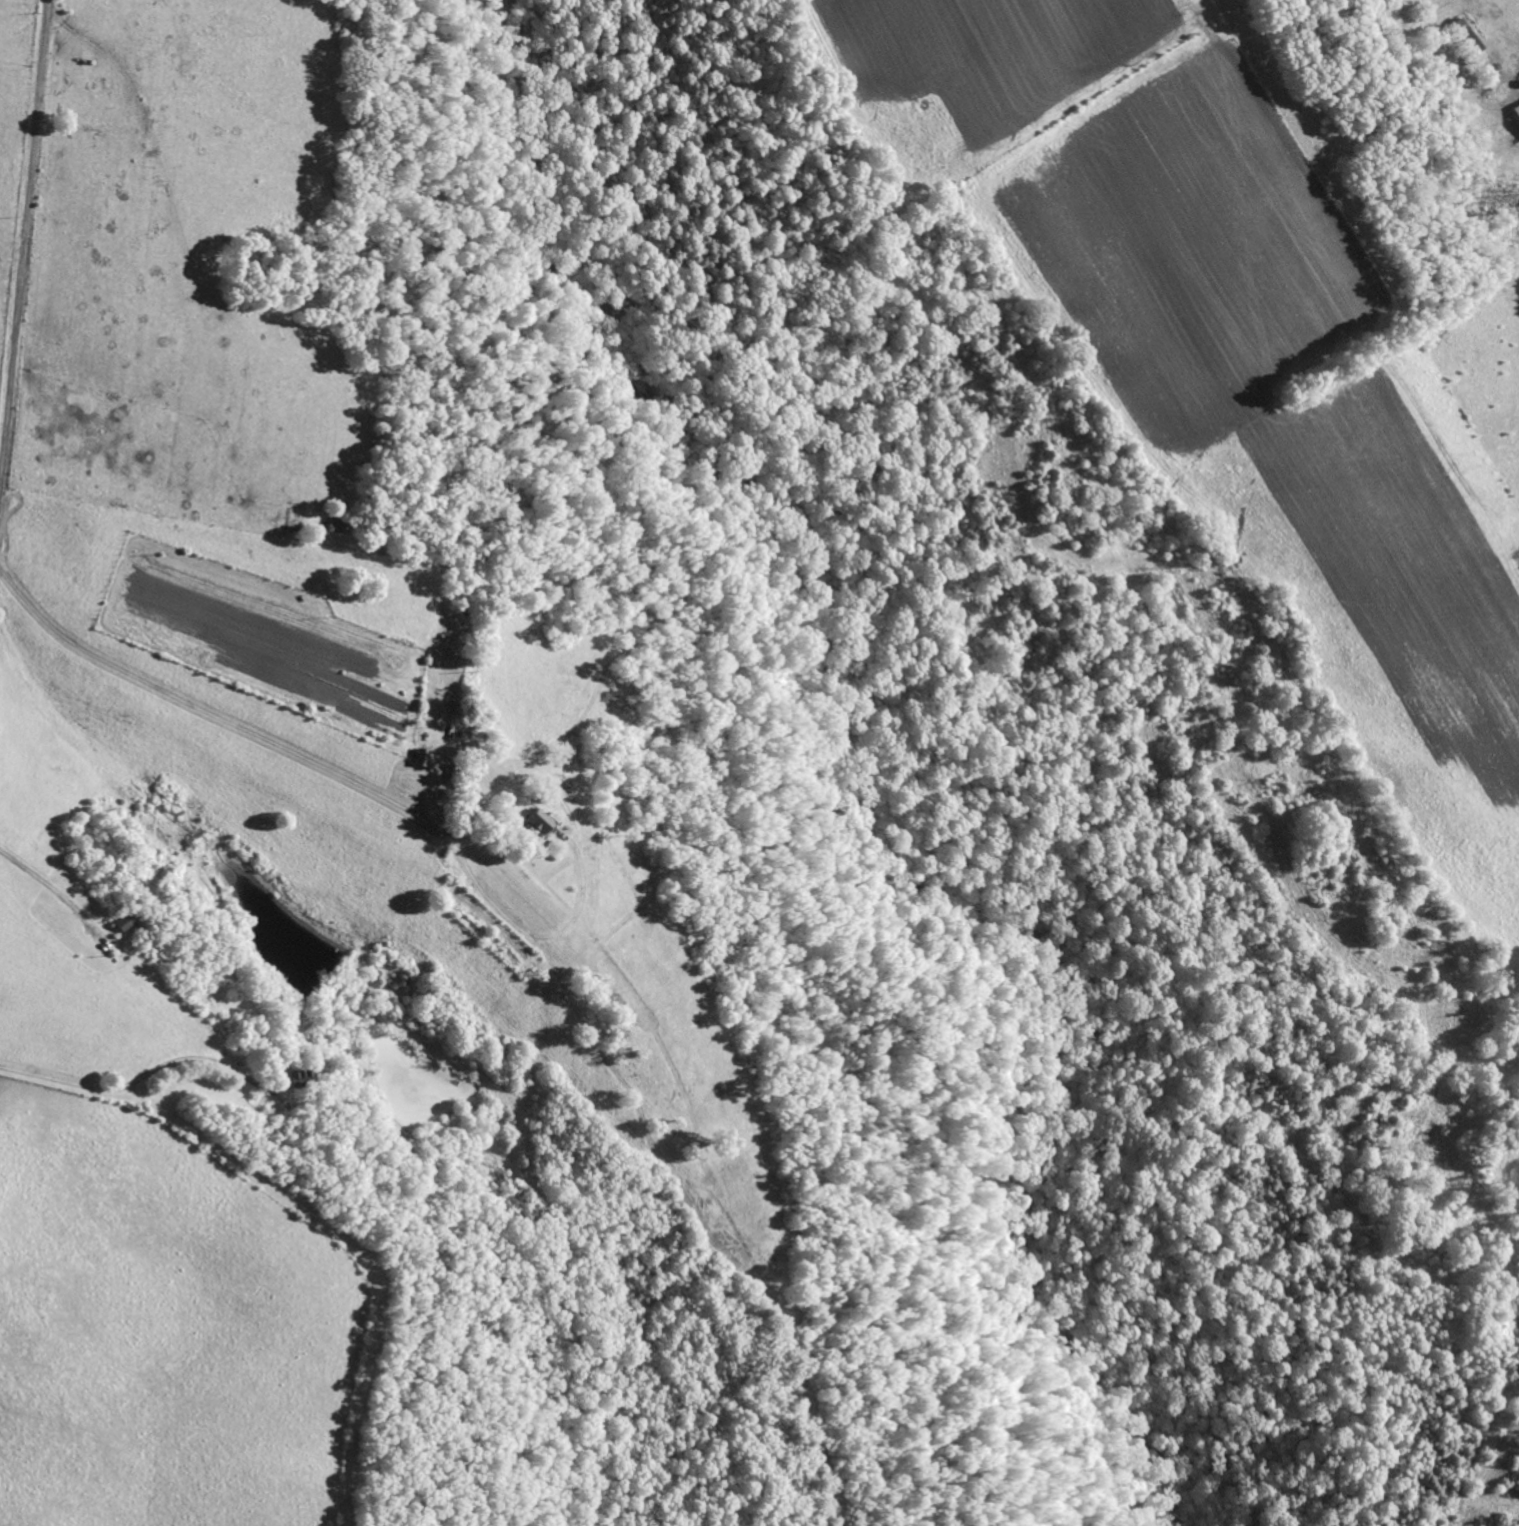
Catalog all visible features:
building: (1514, 113)
road: (26, 237)
building: (332, 526)
building: (421, 759)
building: (535, 822)
building: (118, 924)

